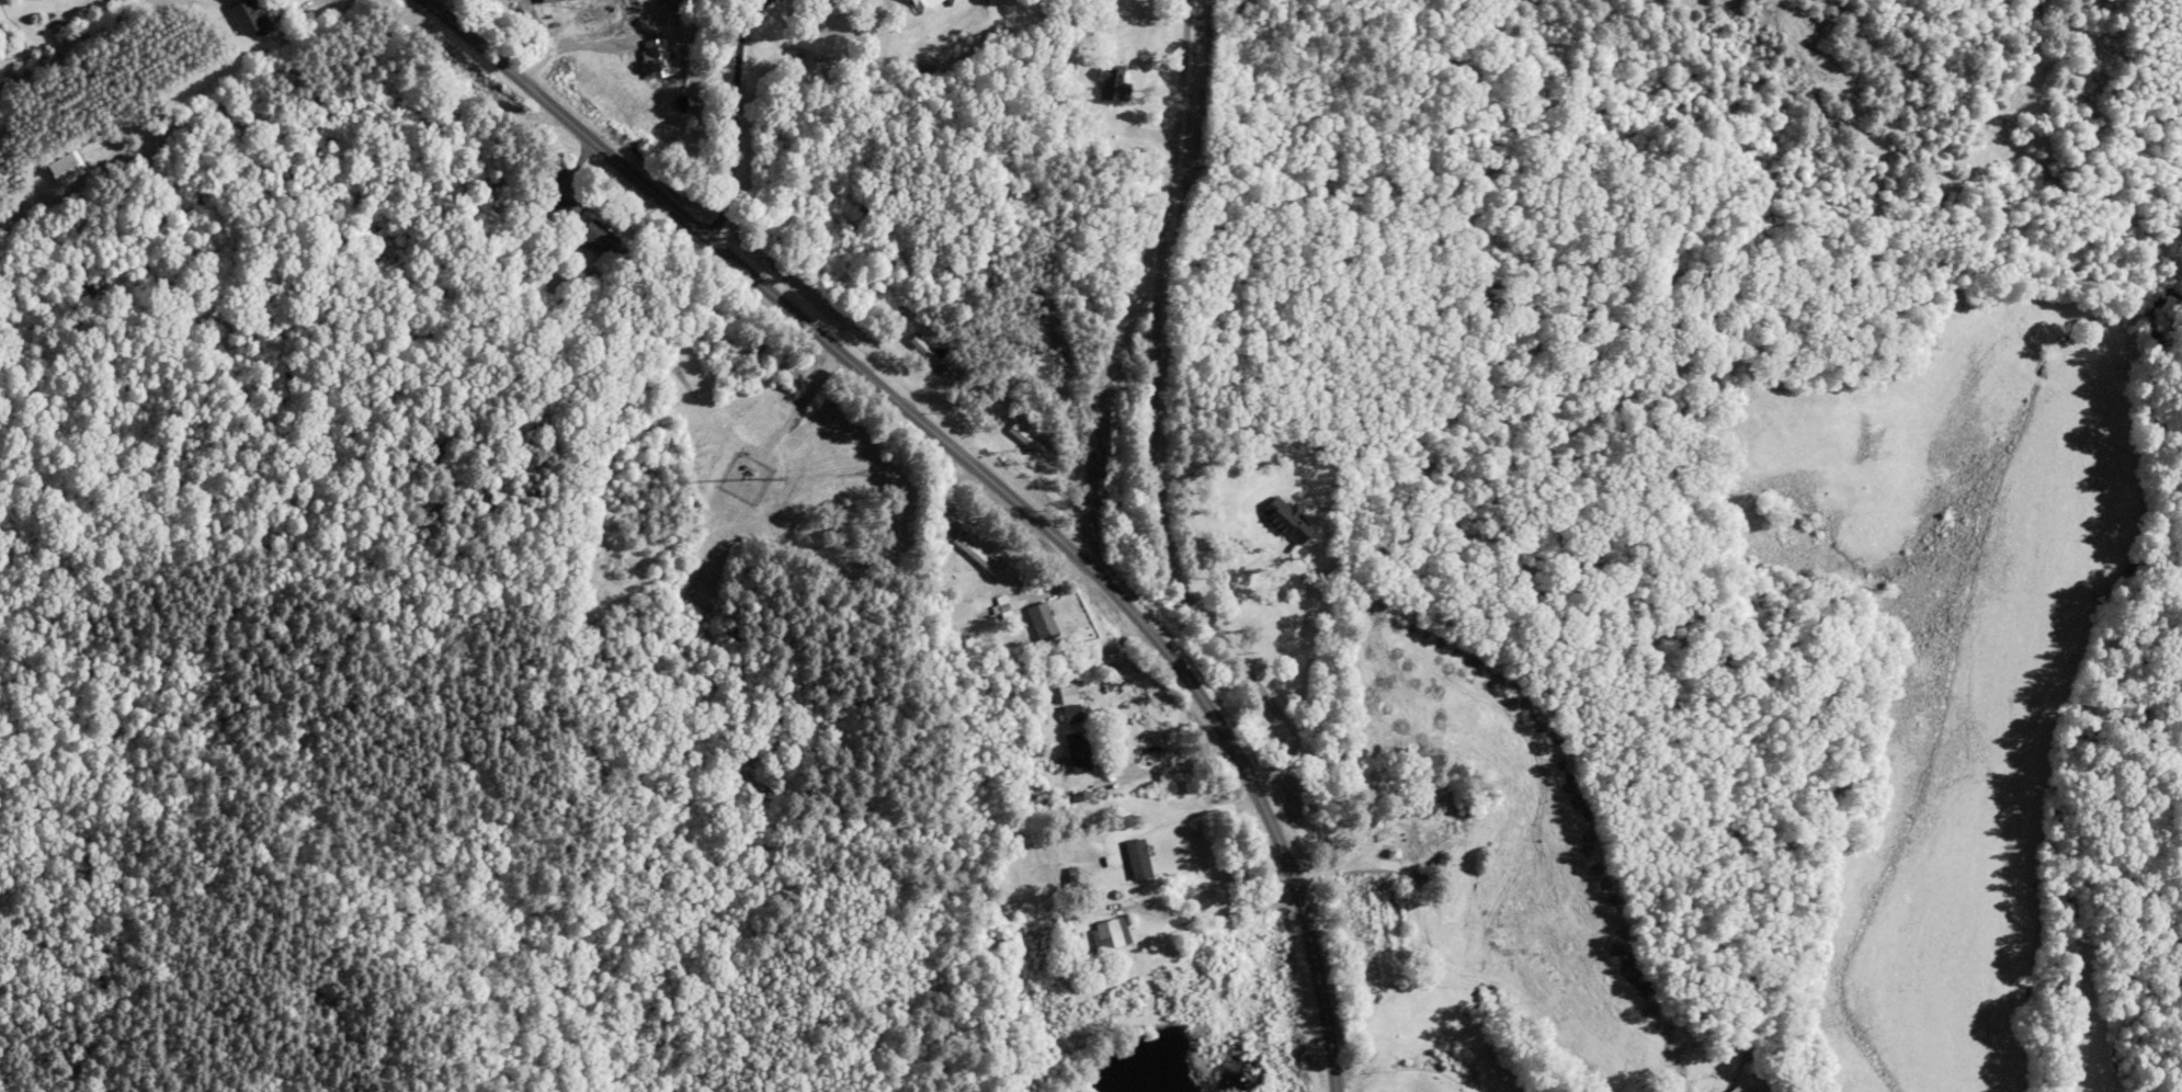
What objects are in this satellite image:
building: (952, 1)
road: (52, 3)
building: (923, 4)
road: (296, 9)
building: (580, 11)
building: (249, 16)
building: (656, 52)
road: (277, 109)
road: (736, 113)
building: (568, 206)
building: (600, 237)
road: (802, 403)
road: (1156, 413)
road: (985, 474)
building: (975, 553)
building: (1043, 621)
building: (1072, 712)
building: (1079, 752)
road: (1178, 818)
building: (1433, 832)
building: (1139, 857)
building: (1209, 891)
road: (1207, 912)
building: (1113, 932)
building: (1751, 1084)

